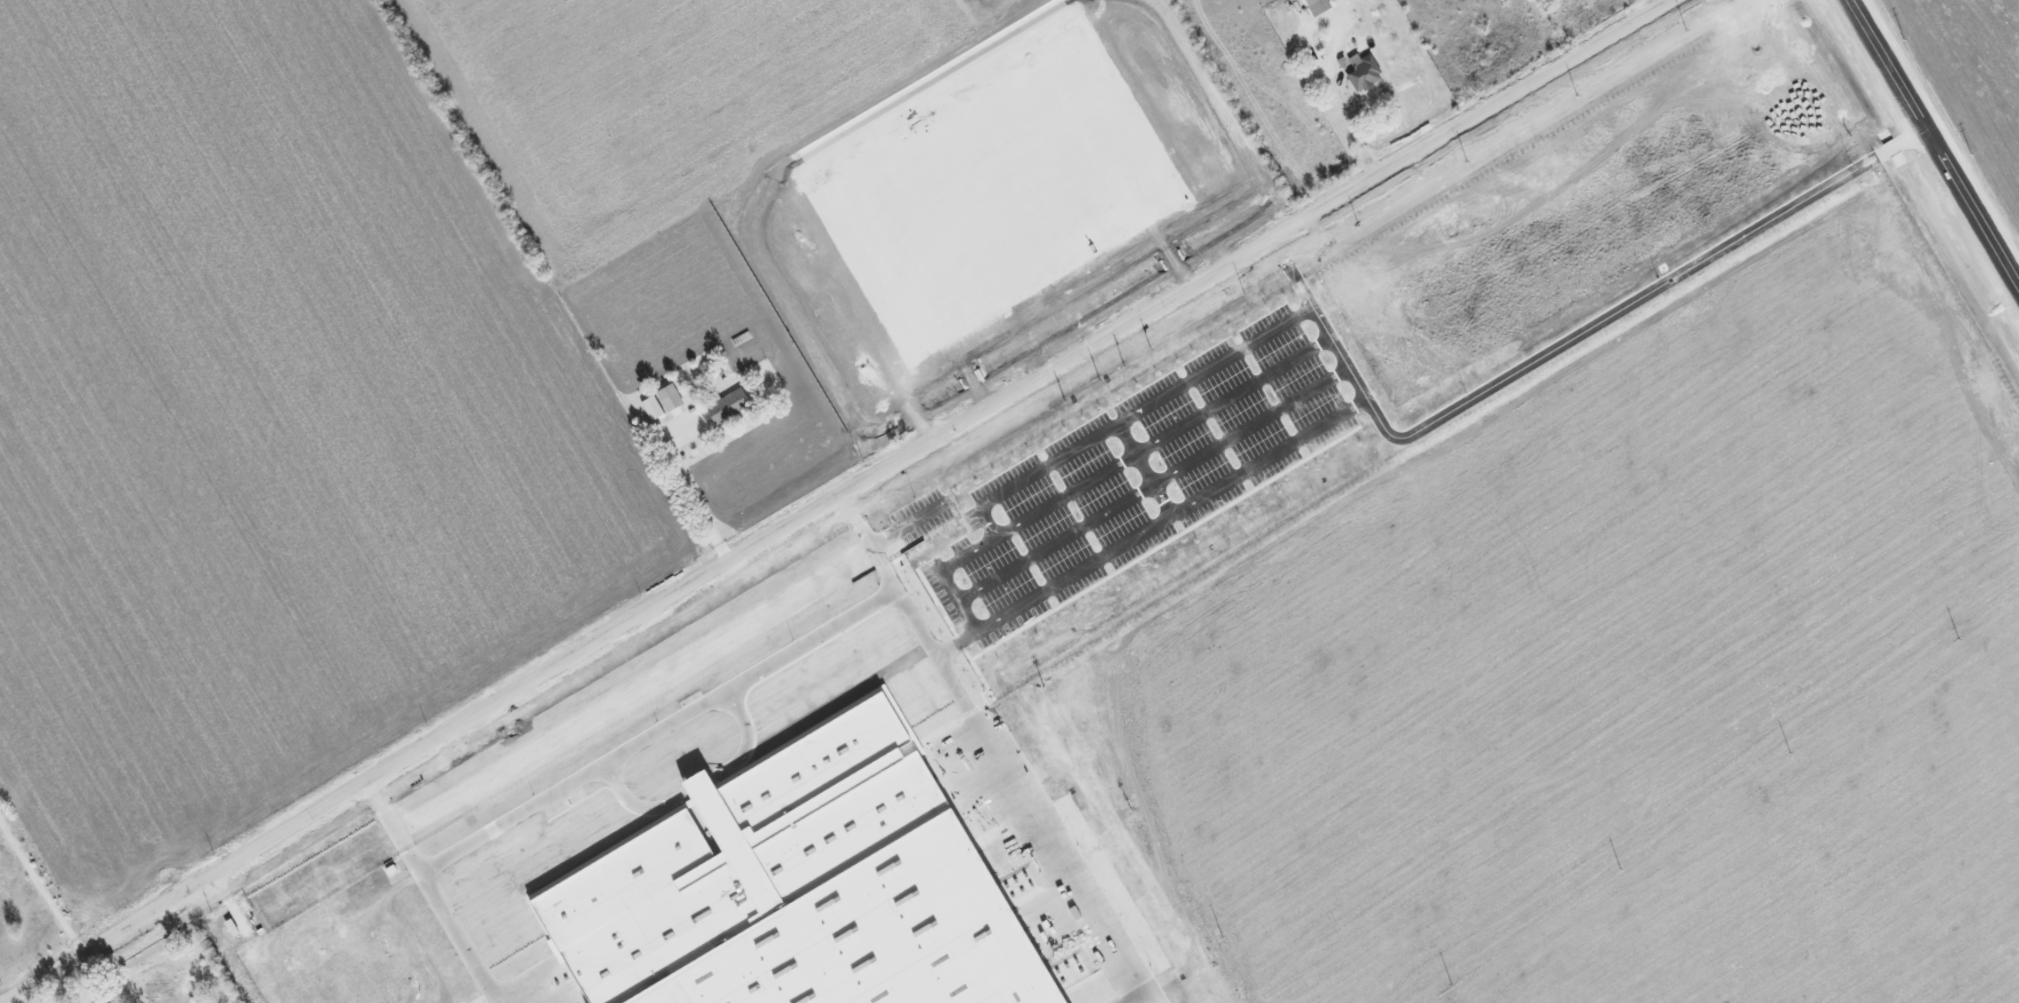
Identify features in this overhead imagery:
building: (1328, 1)
building: (1314, 7)
road: (1319, 67)
building: (1361, 72)
road: (1942, 133)
road: (1369, 381)
building: (672, 398)
building: (730, 405)
building: (656, 408)
road: (693, 493)
road: (837, 499)
road: (40, 885)
road: (93, 977)
road: (44, 992)

